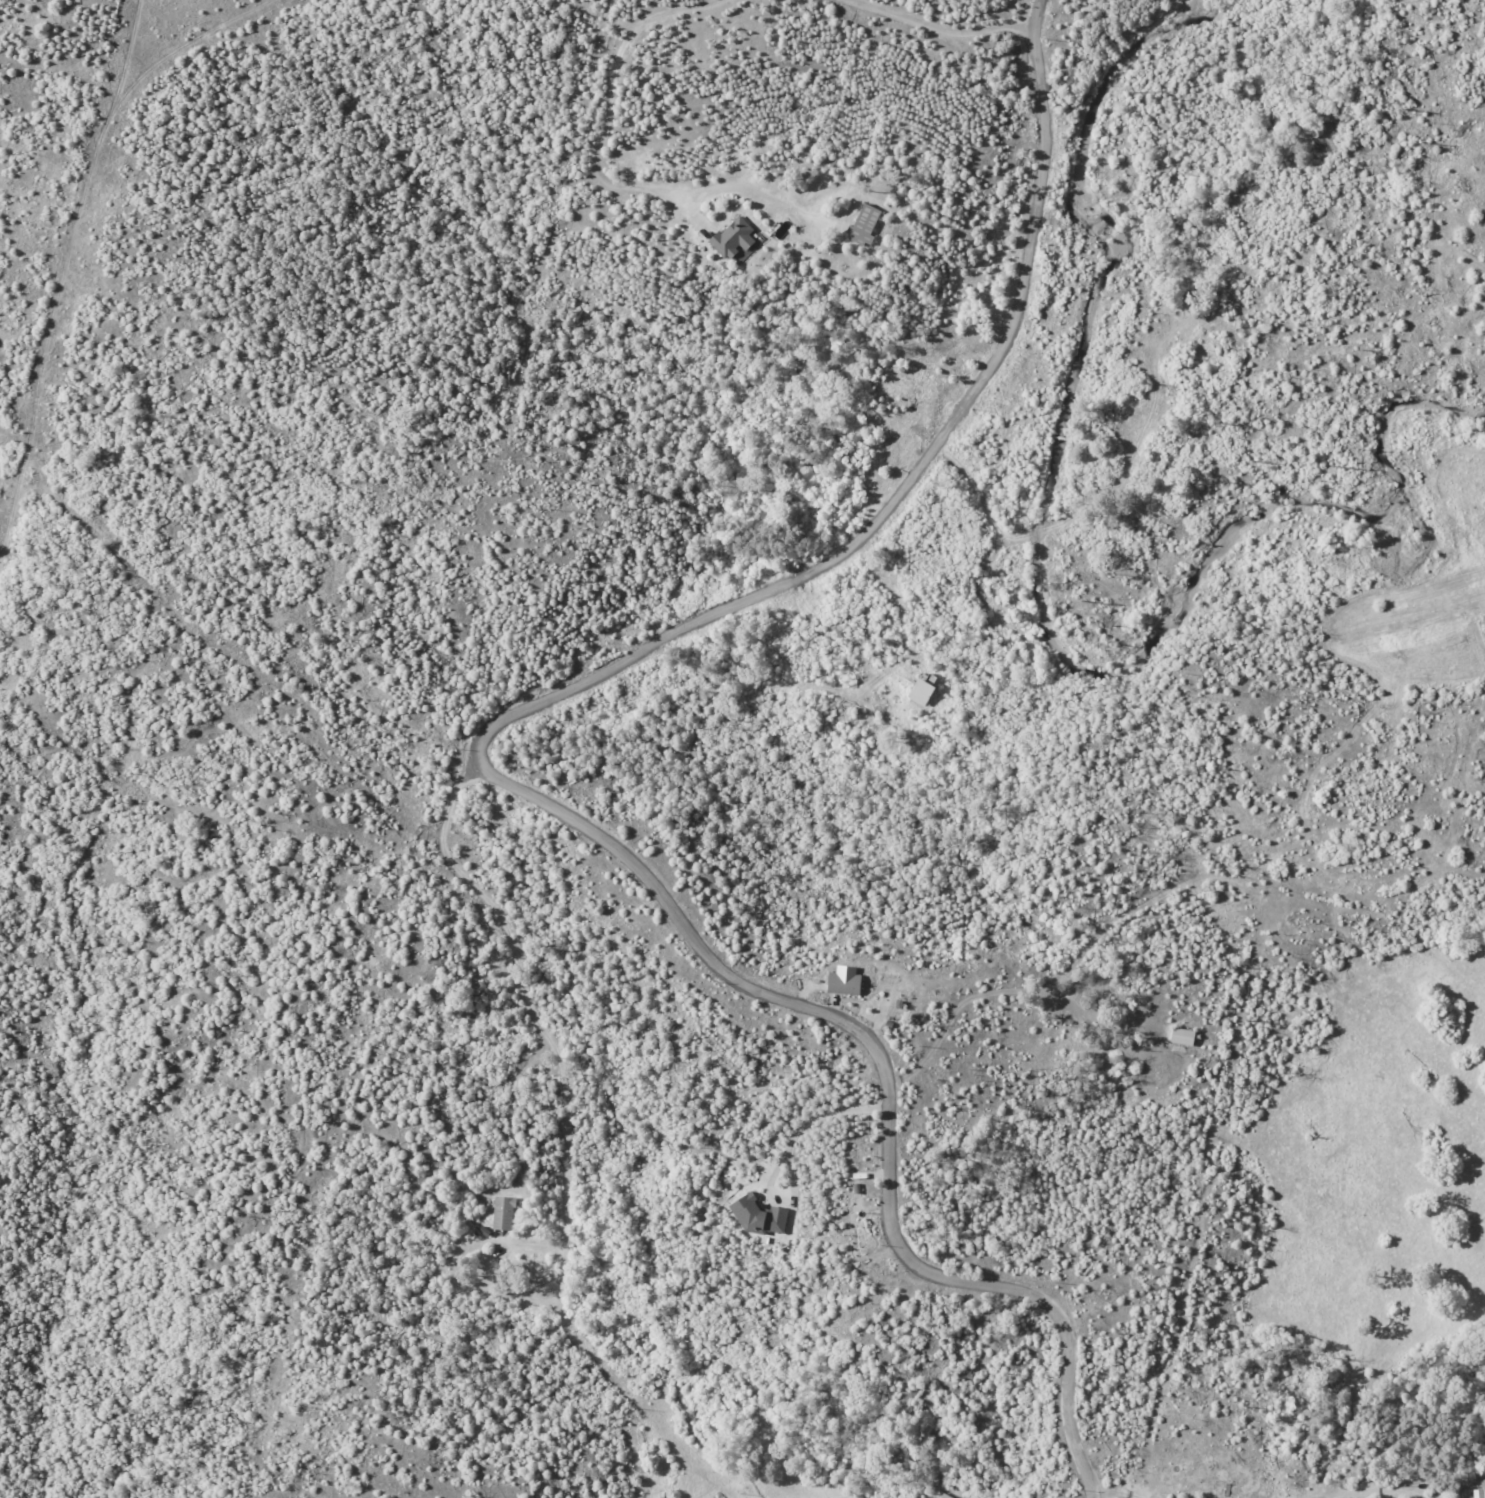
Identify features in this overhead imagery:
road: (925, 37)
road: (613, 92)
building: (864, 224)
road: (914, 496)
road: (914, 655)
building: (843, 980)
road: (523, 998)
building: (1182, 1036)
road: (889, 1087)
road: (816, 1131)
building: (504, 1213)
building: (759, 1215)
road: (1381, 1492)
building: (1479, 1493)
road: (1105, 1495)
building: (946, 1496)

